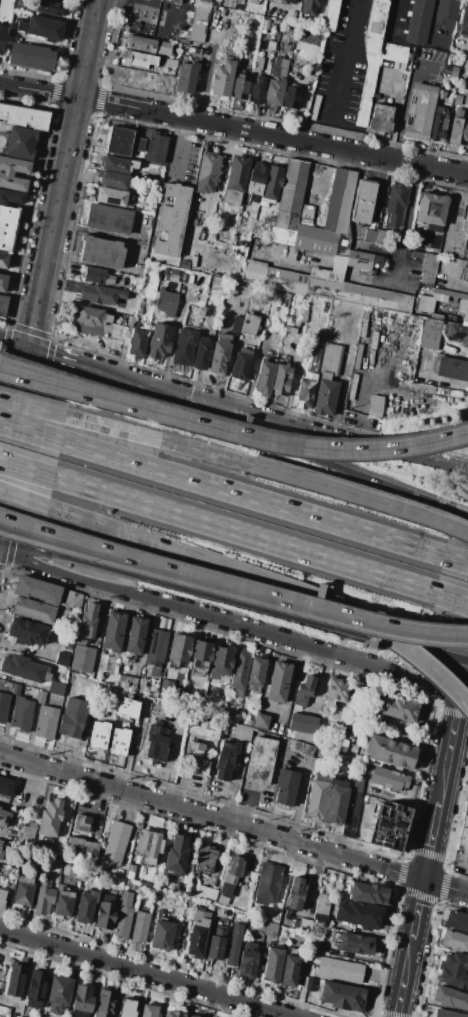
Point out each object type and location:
building: (174, 1)
building: (286, 1)
road: (125, 7)
road: (150, 7)
building: (308, 7)
building: (49, 8)
road: (170, 11)
building: (328, 14)
building: (446, 14)
building: (254, 20)
building: (199, 21)
building: (419, 21)
building: (464, 21)
building: (265, 24)
building: (41, 27)
building: (2, 35)
building: (316, 38)
road: (460, 39)
building: (271, 45)
building: (149, 46)
building: (189, 50)
building: (375, 55)
building: (31, 56)
building: (139, 60)
road: (344, 61)
building: (168, 62)
building: (258, 65)
building: (465, 65)
building: (279, 67)
building: (450, 70)
road: (206, 73)
building: (186, 76)
building: (223, 78)
building: (240, 85)
building: (257, 90)
building: (274, 92)
building: (376, 96)
building: (292, 97)
road: (405, 98)
building: (466, 98)
building: (457, 100)
building: (316, 107)
building: (420, 111)
building: (23, 116)
building: (380, 119)
building: (439, 126)
road: (234, 127)
building: (458, 129)
building: (119, 141)
building: (19, 142)
building: (139, 145)
building: (156, 147)
road: (177, 147)
building: (118, 164)
building: (207, 173)
building: (6, 175)
road: (219, 175)
building: (236, 176)
building: (256, 178)
building: (113, 180)
building: (271, 185)
building: (291, 195)
building: (89, 196)
building: (11, 197)
building: (110, 197)
building: (339, 199)
building: (363, 202)
building: (397, 203)
road: (410, 206)
building: (431, 209)
road: (450, 211)
building: (307, 214)
building: (108, 218)
building: (171, 220)
building: (464, 226)
building: (7, 227)
road: (94, 230)
building: (369, 236)
building: (379, 236)
building: (393, 237)
building: (315, 239)
road: (46, 243)
building: (466, 248)
building: (100, 251)
building: (3, 260)
building: (363, 260)
road: (85, 263)
building: (184, 264)
road: (399, 268)
building: (428, 268)
building: (255, 269)
building: (466, 274)
building: (101, 276)
building: (285, 281)
building: (3, 282)
road: (447, 282)
building: (353, 290)
building: (102, 294)
building: (450, 298)
building: (165, 302)
building: (2, 305)
building: (138, 309)
building: (427, 310)
building: (433, 311)
building: (439, 313)
building: (450, 314)
building: (304, 316)
building: (90, 317)
building: (460, 318)
building: (130, 321)
building: (250, 325)
building: (290, 329)
building: (430, 333)
building: (456, 333)
building: (276, 338)
building: (137, 341)
building: (159, 341)
road: (12, 345)
building: (184, 347)
traffic signals: (26, 349)
building: (201, 354)
building: (219, 354)
building: (281, 355)
road: (55, 358)
building: (331, 359)
building: (315, 361)
building: (357, 362)
building: (241, 364)
road: (253, 367)
building: (449, 368)
building: (264, 378)
building: (281, 379)
road: (41, 381)
building: (353, 386)
building: (305, 392)
building: (325, 396)
road: (171, 399)
road: (362, 402)
building: (374, 405)
road: (31, 408)
road: (276, 418)
road: (30, 431)
road: (171, 444)
road: (272, 444)
road: (25, 469)
road: (357, 469)
road: (253, 497)
road: (374, 502)
road: (463, 509)
road: (243, 534)
road: (67, 535)
road: (67, 544)
road: (457, 558)
road: (64, 573)
road: (126, 573)
road: (248, 575)
building: (36, 589)
road: (452, 597)
building: (73, 598)
road: (452, 599)
road: (300, 605)
building: (32, 610)
building: (113, 630)
road: (360, 631)
building: (26, 632)
building: (83, 635)
building: (135, 635)
building: (68, 640)
road: (295, 641)
building: (156, 648)
building: (180, 648)
building: (200, 658)
building: (62, 659)
building: (220, 663)
building: (23, 669)
building: (240, 672)
road: (463, 672)
building: (255, 675)
building: (126, 681)
building: (277, 682)
building: (9, 685)
building: (140, 686)
building: (56, 689)
building: (306, 691)
building: (336, 691)
building: (40, 697)
road: (463, 697)
building: (121, 706)
building: (3, 707)
building: (397, 707)
building: (20, 714)
building: (230, 715)
building: (72, 717)
building: (260, 721)
building: (45, 722)
building: (302, 726)
building: (203, 728)
building: (241, 733)
building: (97, 734)
building: (117, 741)
building: (156, 742)
building: (339, 745)
building: (303, 748)
building: (390, 752)
building: (195, 760)
building: (260, 760)
building: (225, 761)
building: (388, 778)
road: (23, 782)
building: (357, 782)
building: (6, 786)
building: (285, 787)
road: (440, 787)
park: (467, 791)
building: (316, 799)
building: (335, 803)
building: (22, 810)
building: (350, 811)
road: (210, 817)
building: (4, 818)
building: (50, 818)
building: (81, 823)
building: (31, 824)
building: (388, 825)
building: (462, 832)
building: (27, 836)
building: (0, 843)
building: (115, 843)
building: (0, 845)
building: (149, 846)
building: (82, 847)
building: (1, 854)
building: (175, 855)
building: (205, 859)
road: (462, 861)
building: (68, 871)
building: (129, 871)
building: (191, 874)
building: (231, 875)
traffic signals: (422, 880)
building: (268, 883)
building: (145, 884)
building: (136, 887)
road: (445, 887)
road: (466, 889)
building: (23, 890)
building: (296, 893)
building: (368, 893)
building: (205, 894)
building: (44, 895)
building: (2, 897)
building: (222, 900)
building: (323, 903)
building: (63, 905)
building: (85, 906)
building: (105, 910)
building: (124, 915)
building: (358, 915)
building: (322, 920)
building: (458, 922)
building: (302, 924)
building: (140, 927)
building: (270, 929)
building: (162, 935)
building: (197, 938)
building: (217, 941)
building: (455, 941)
building: (355, 943)
building: (316, 944)
building: (233, 945)
road: (408, 948)
building: (291, 951)
building: (247, 960)
building: (272, 965)
building: (340, 970)
building: (289, 971)
building: (453, 971)
road: (146, 972)
building: (15, 980)
building: (307, 984)
building: (35, 987)
building: (58, 994)
building: (342, 996)
building: (83, 998)
building: (449, 998)
building: (105, 1003)
building: (128, 1008)
building: (148, 1011)
building: (5, 1012)
building: (173, 1014)
building: (445, 1014)
building: (192, 1016)

